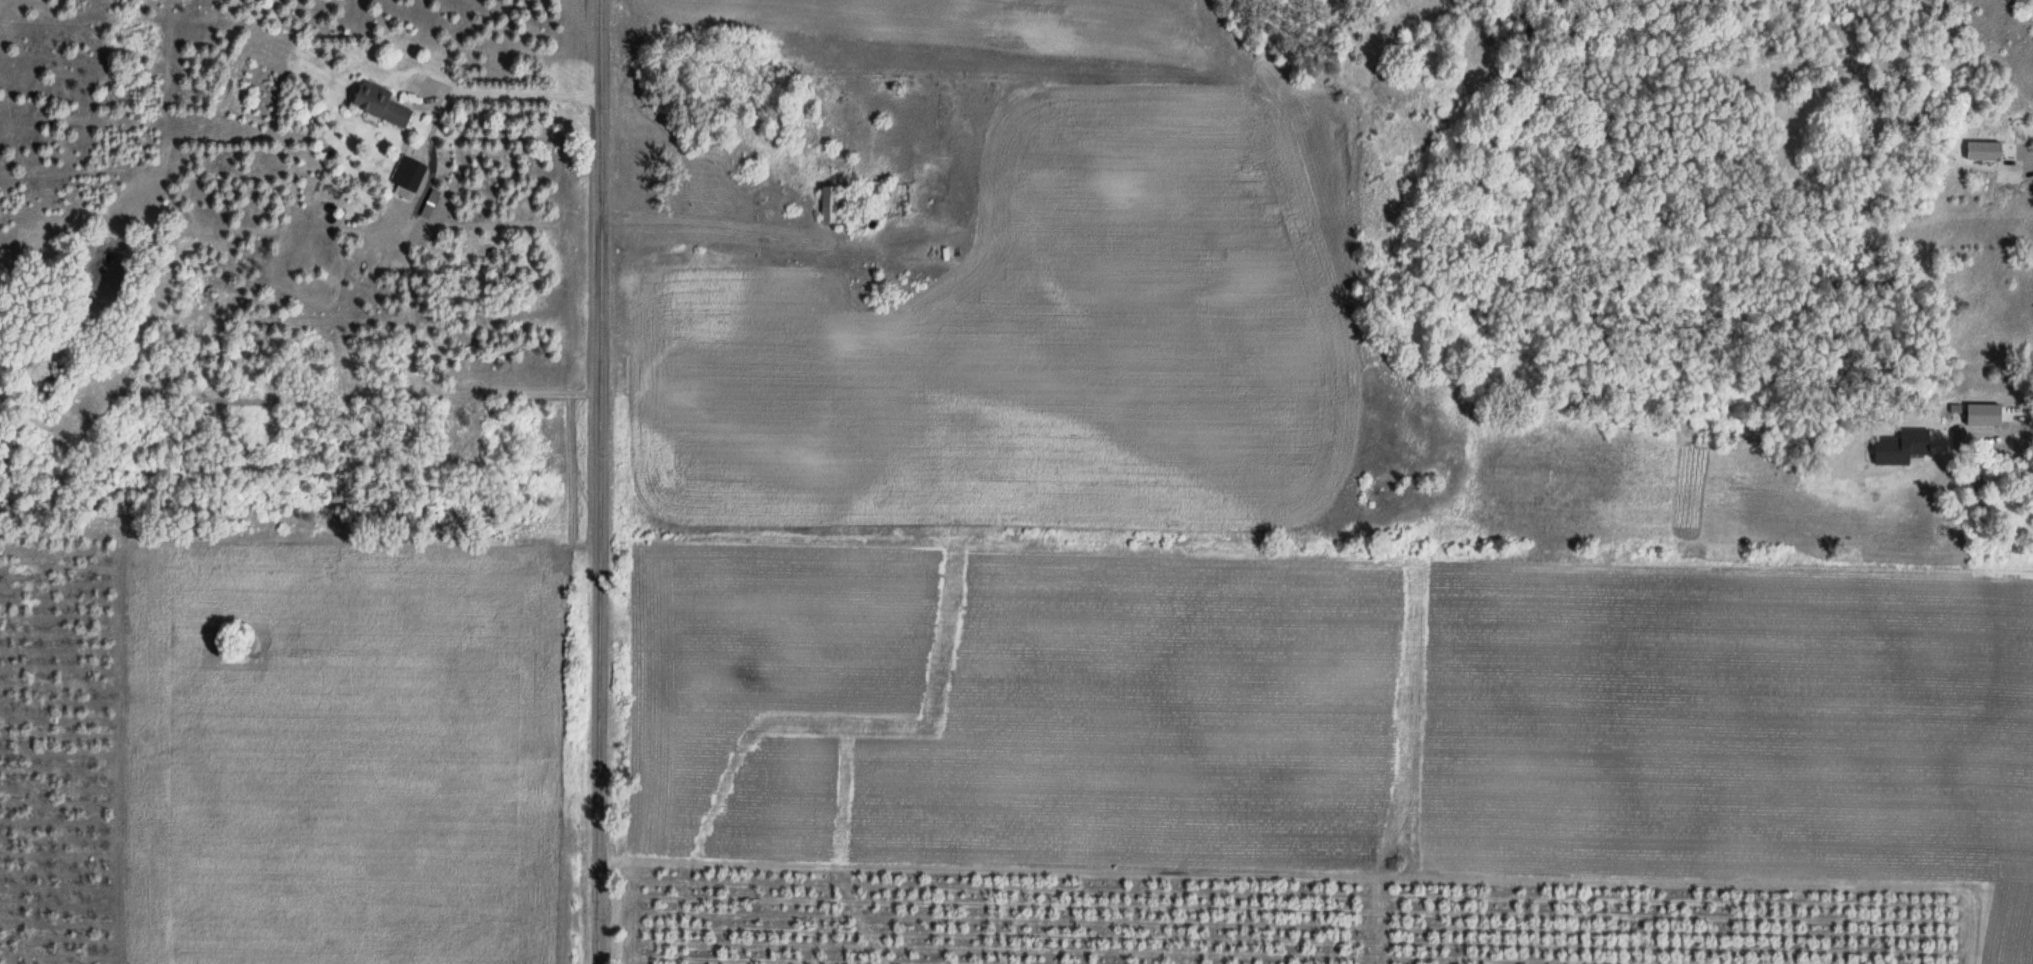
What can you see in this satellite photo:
building: (379, 105)
building: (408, 179)
building: (827, 203)
road: (584, 481)

